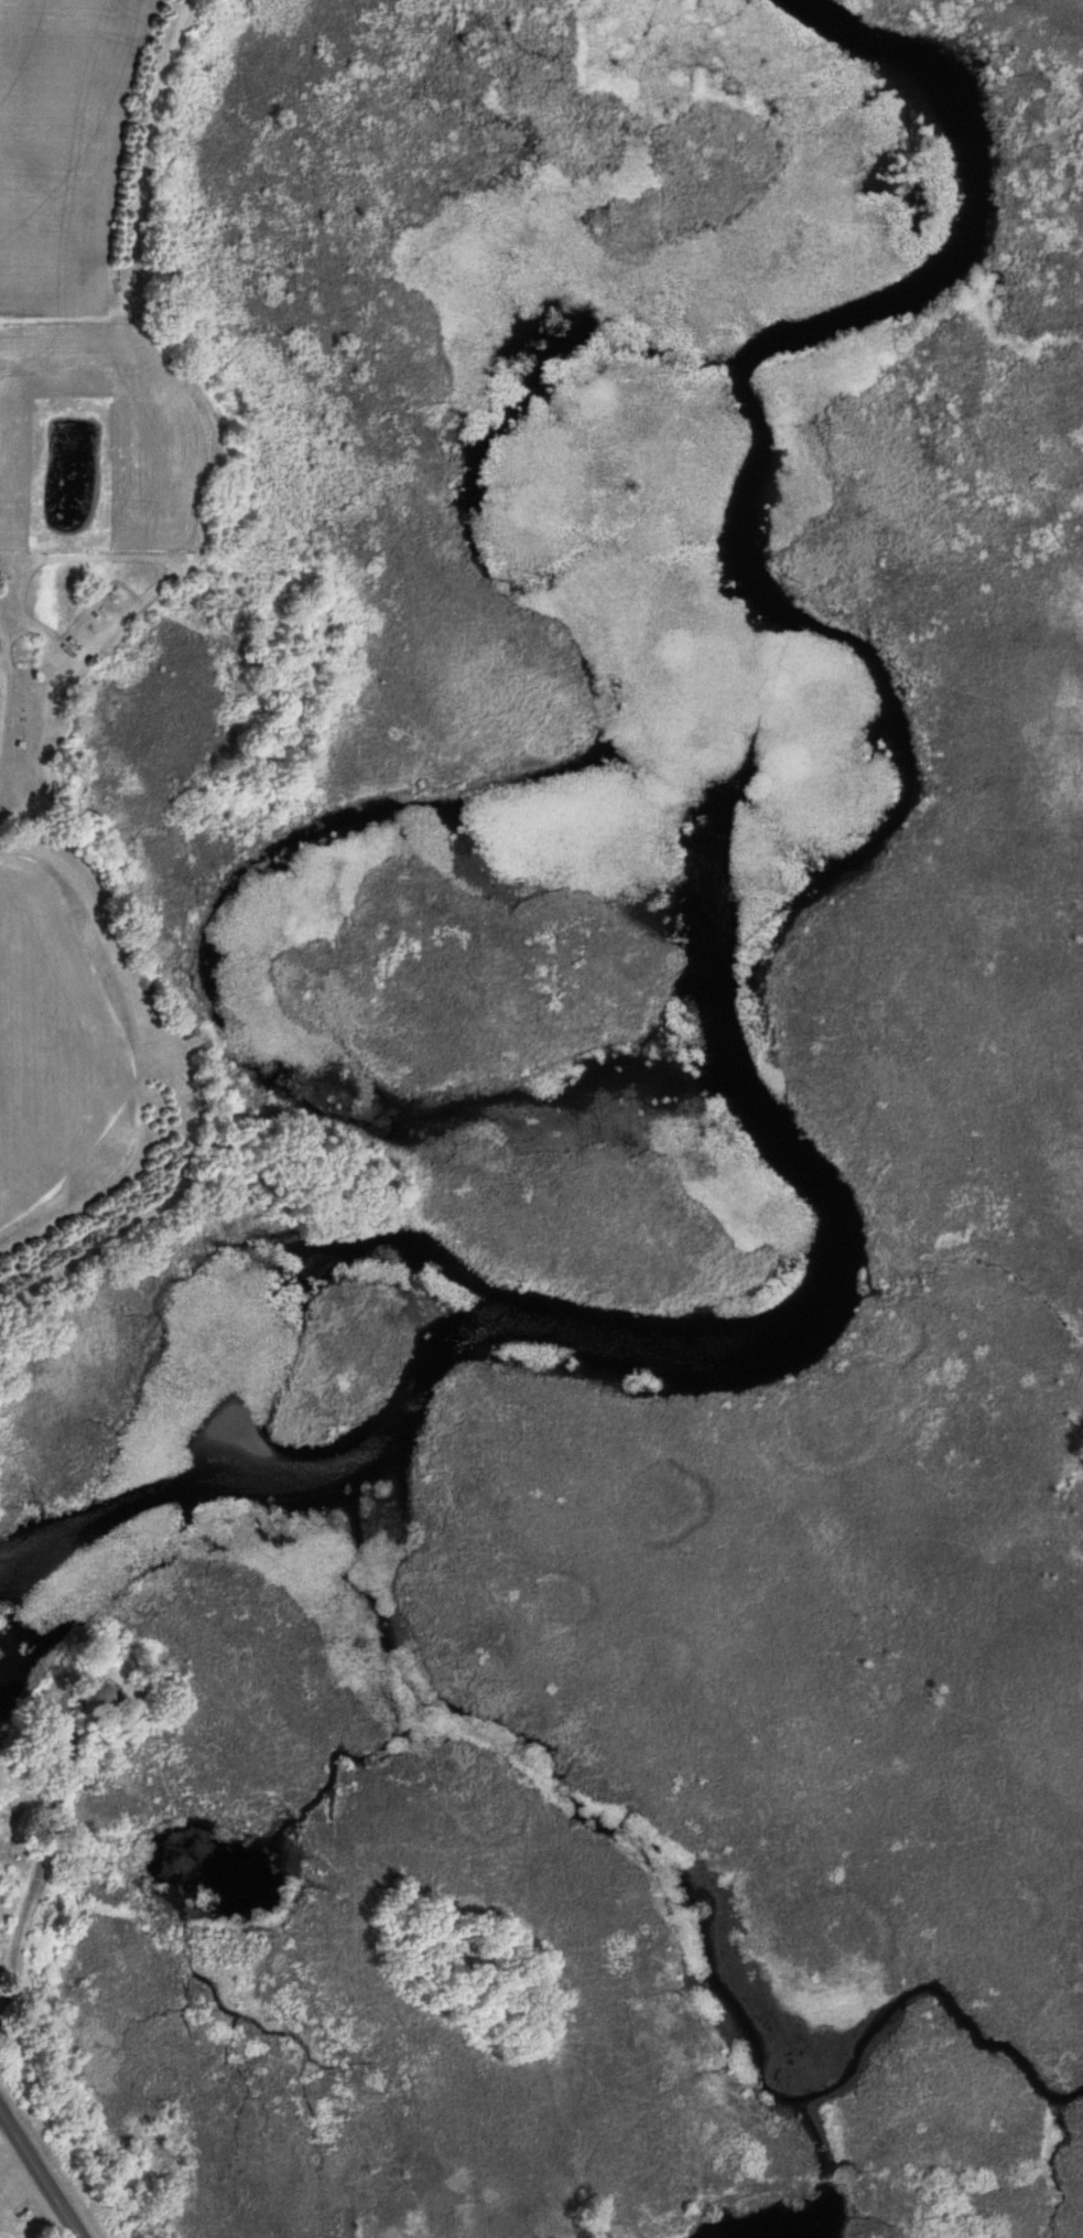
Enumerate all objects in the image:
river: (909, 783)
building: (1, 1733)
road: (37, 1854)
road: (40, 2174)

